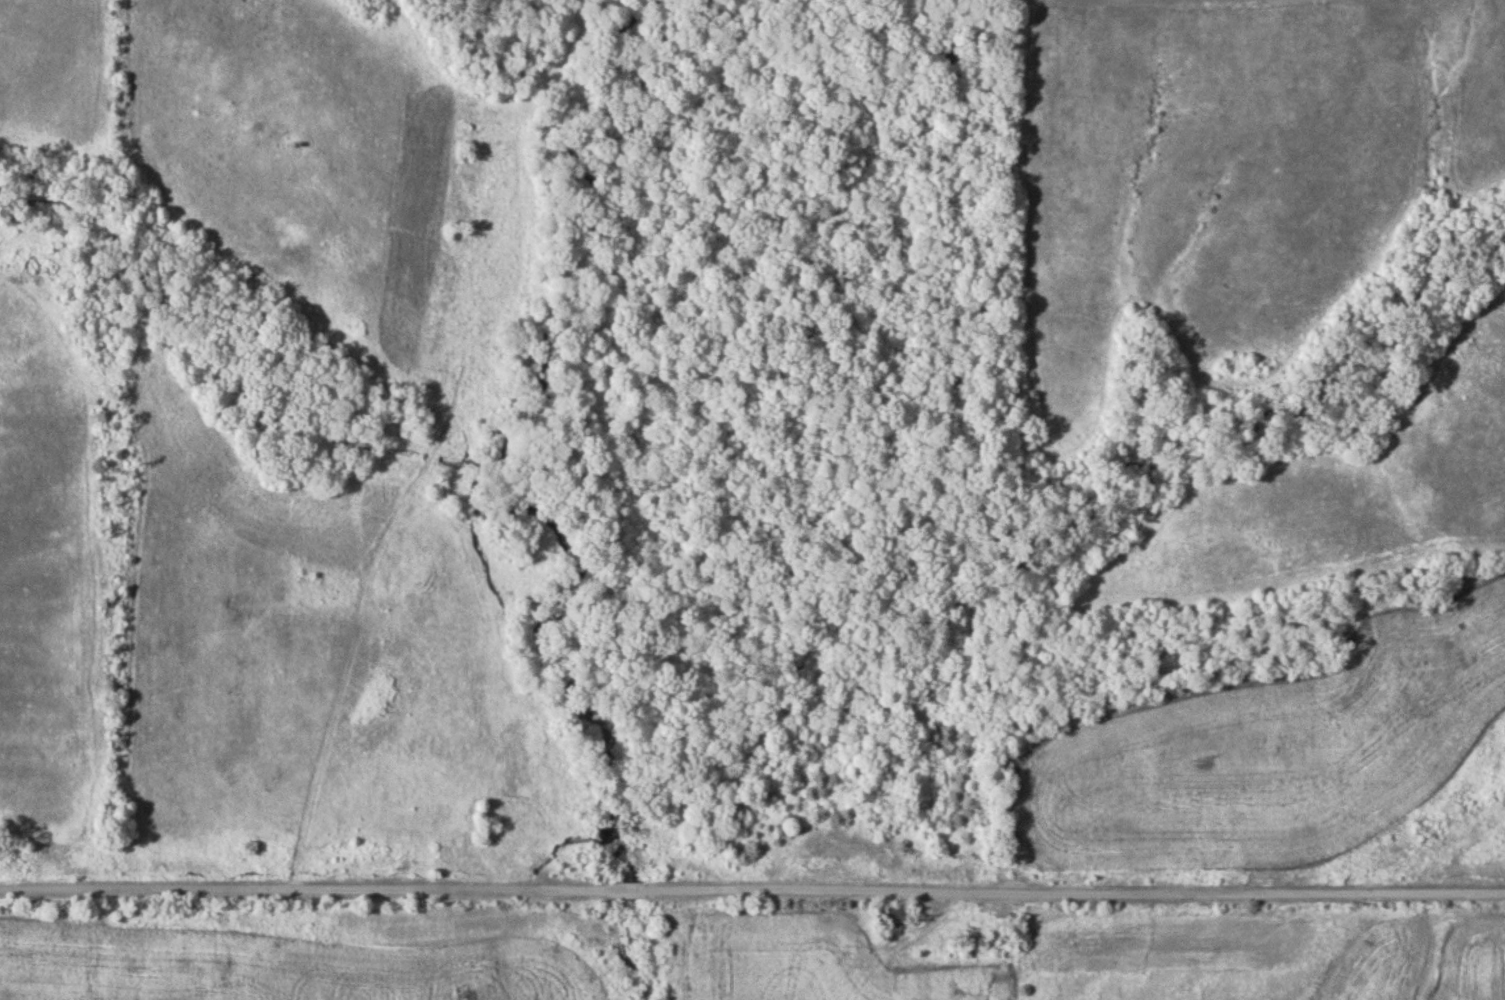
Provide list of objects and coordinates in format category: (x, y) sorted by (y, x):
road: (752, 889)
building: (894, 917)

